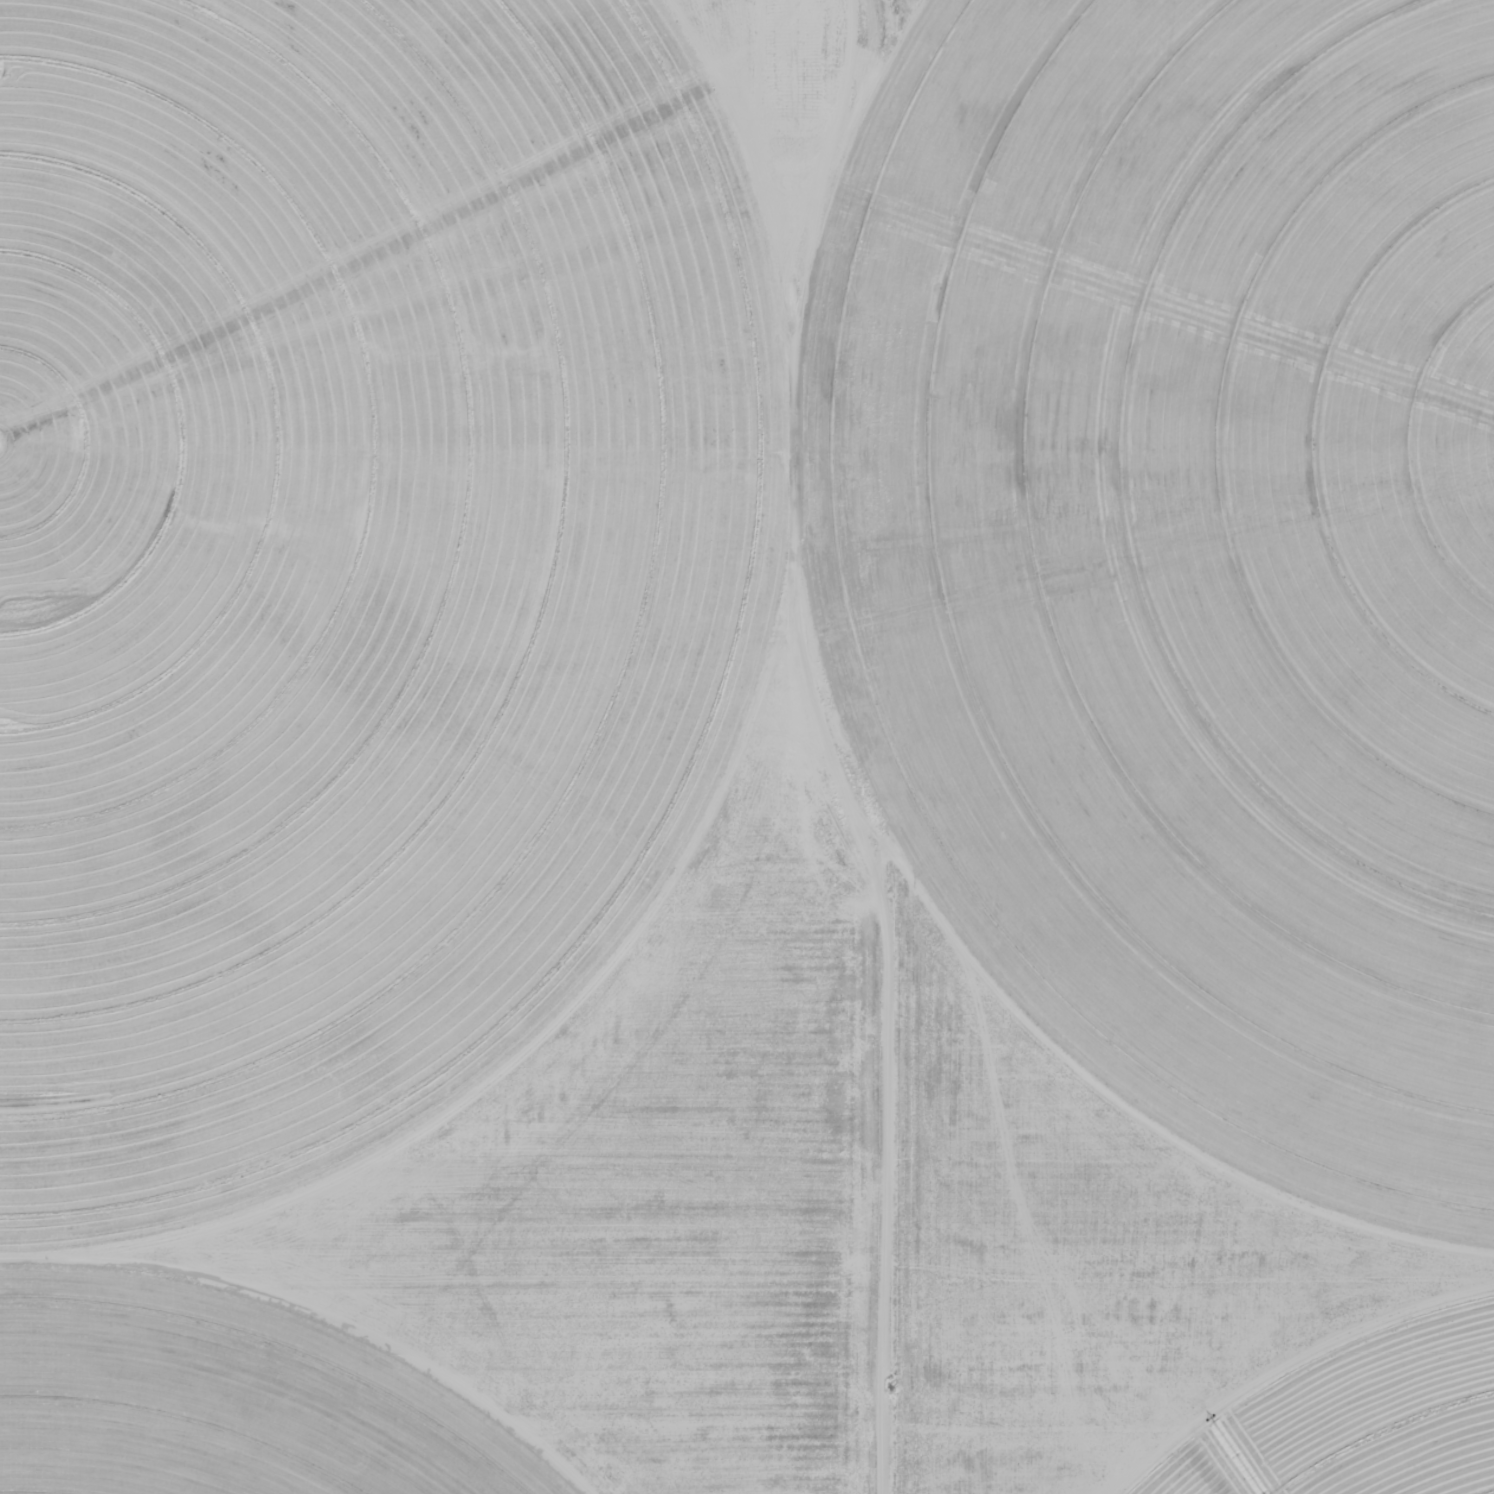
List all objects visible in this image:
crop: (1188, 535)
crop: (344, 554)
road: (1193, 1302)
crop: (214, 1407)

